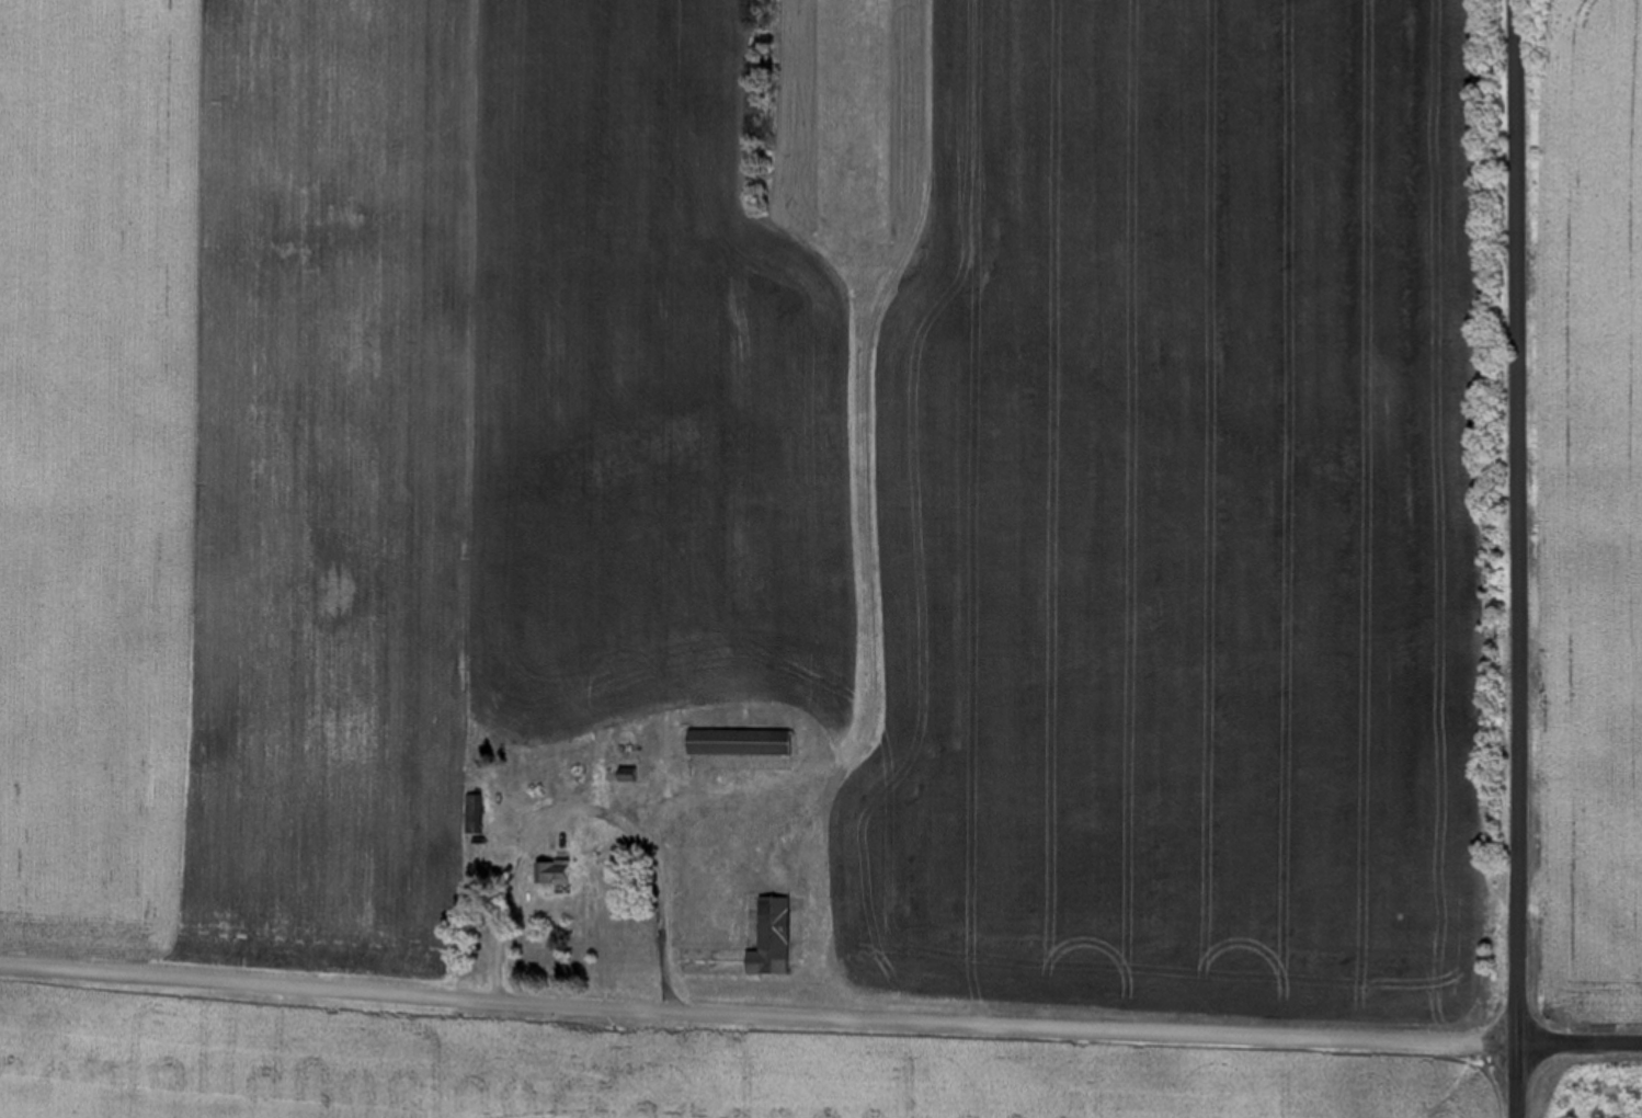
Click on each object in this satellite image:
airport runway: (857, 109)
road: (1521, 517)
building: (744, 742)
building: (476, 814)
building: (556, 872)
building: (777, 937)
road: (759, 1002)
road: (1581, 1035)
road: (1519, 1076)

